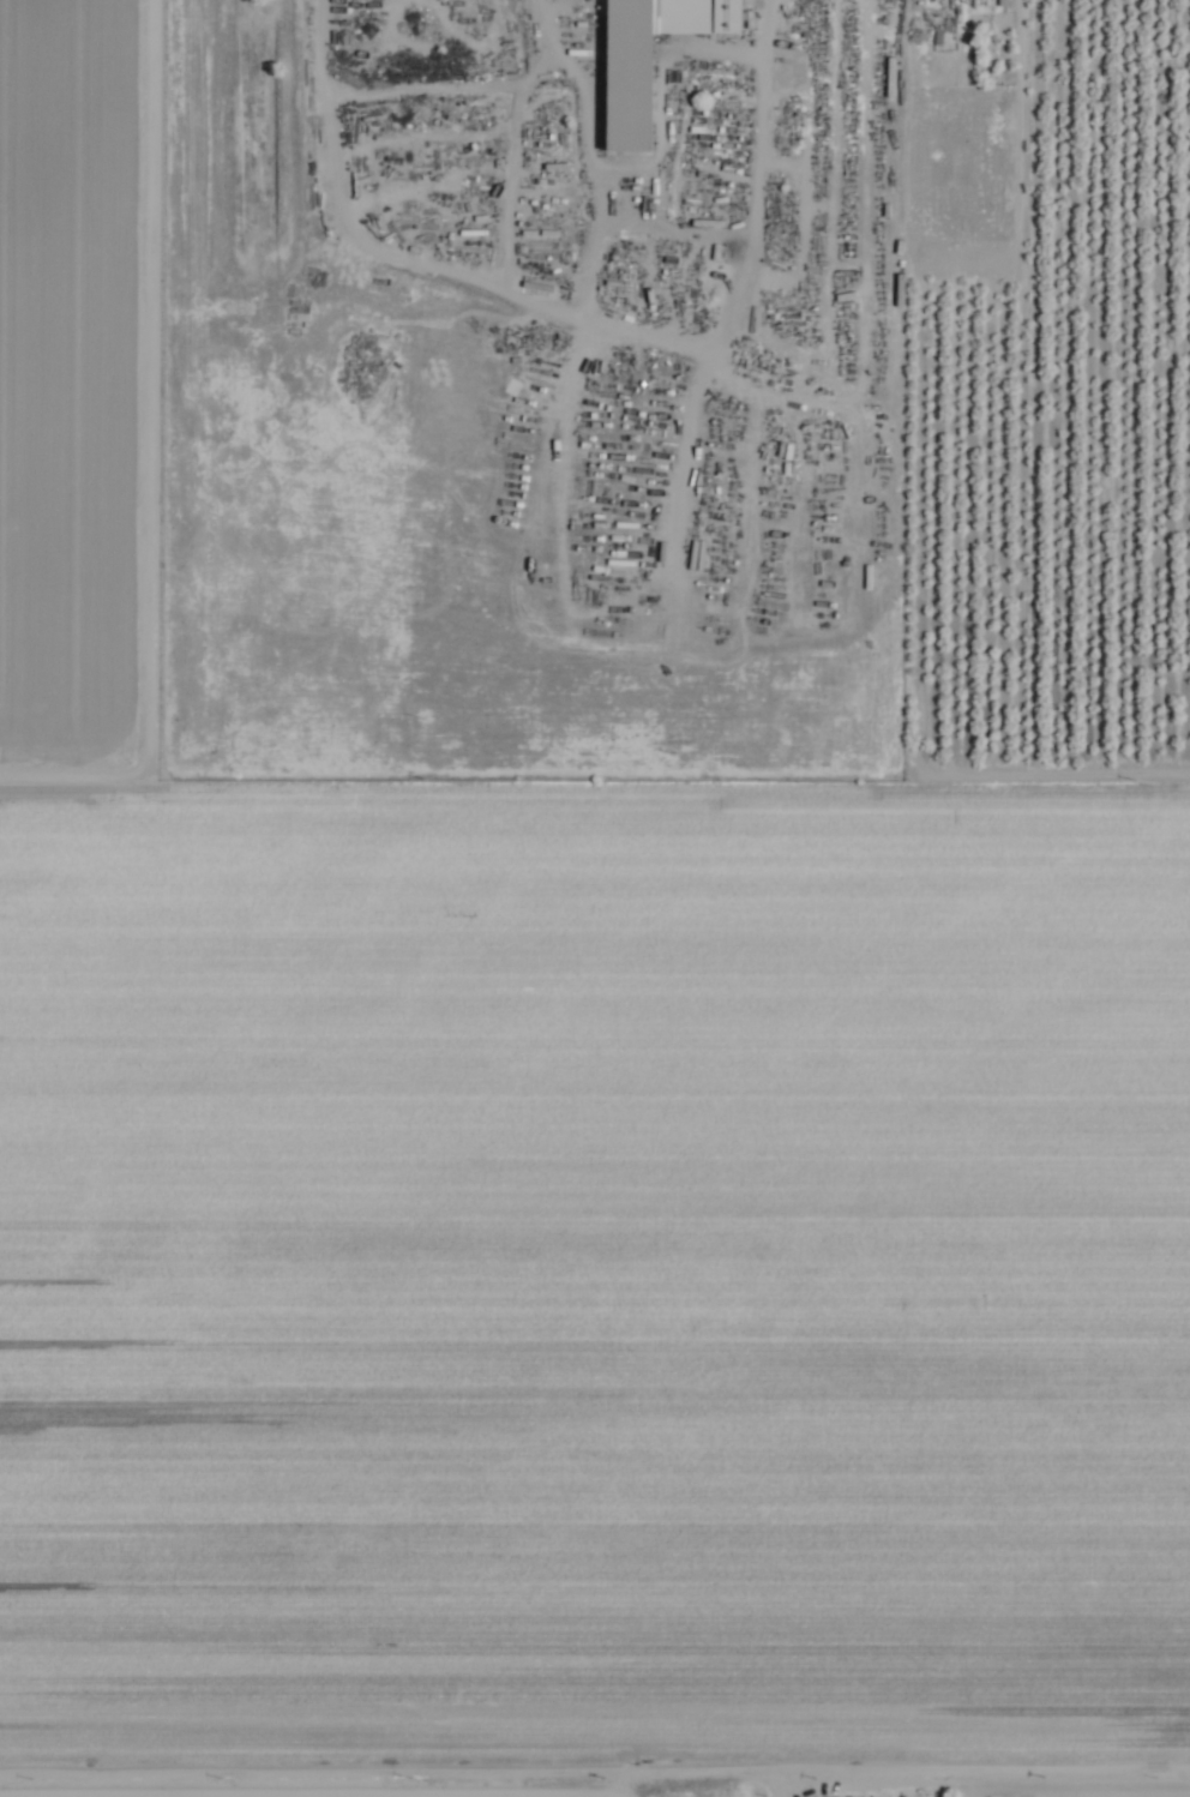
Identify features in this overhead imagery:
building: (728, 16)
building: (898, 150)
building: (898, 202)
road: (1053, 782)
road: (650, 1759)

